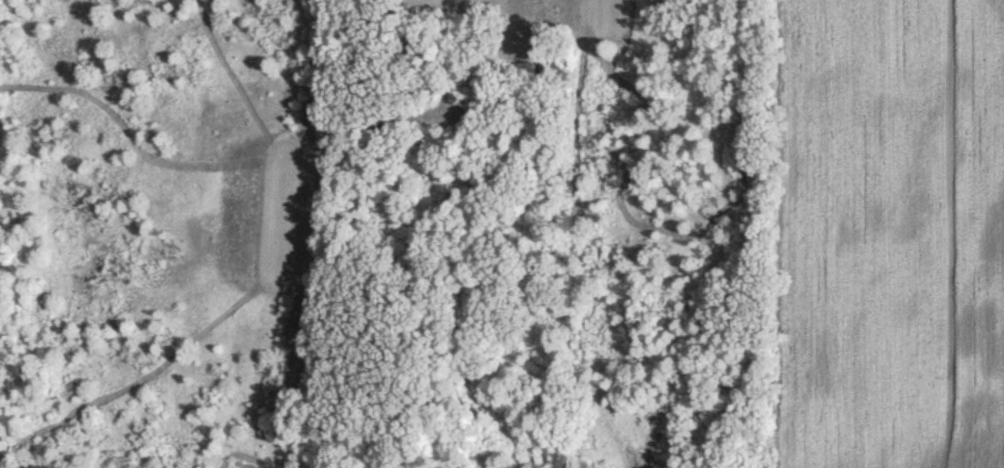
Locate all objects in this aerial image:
building: (660, 412)

